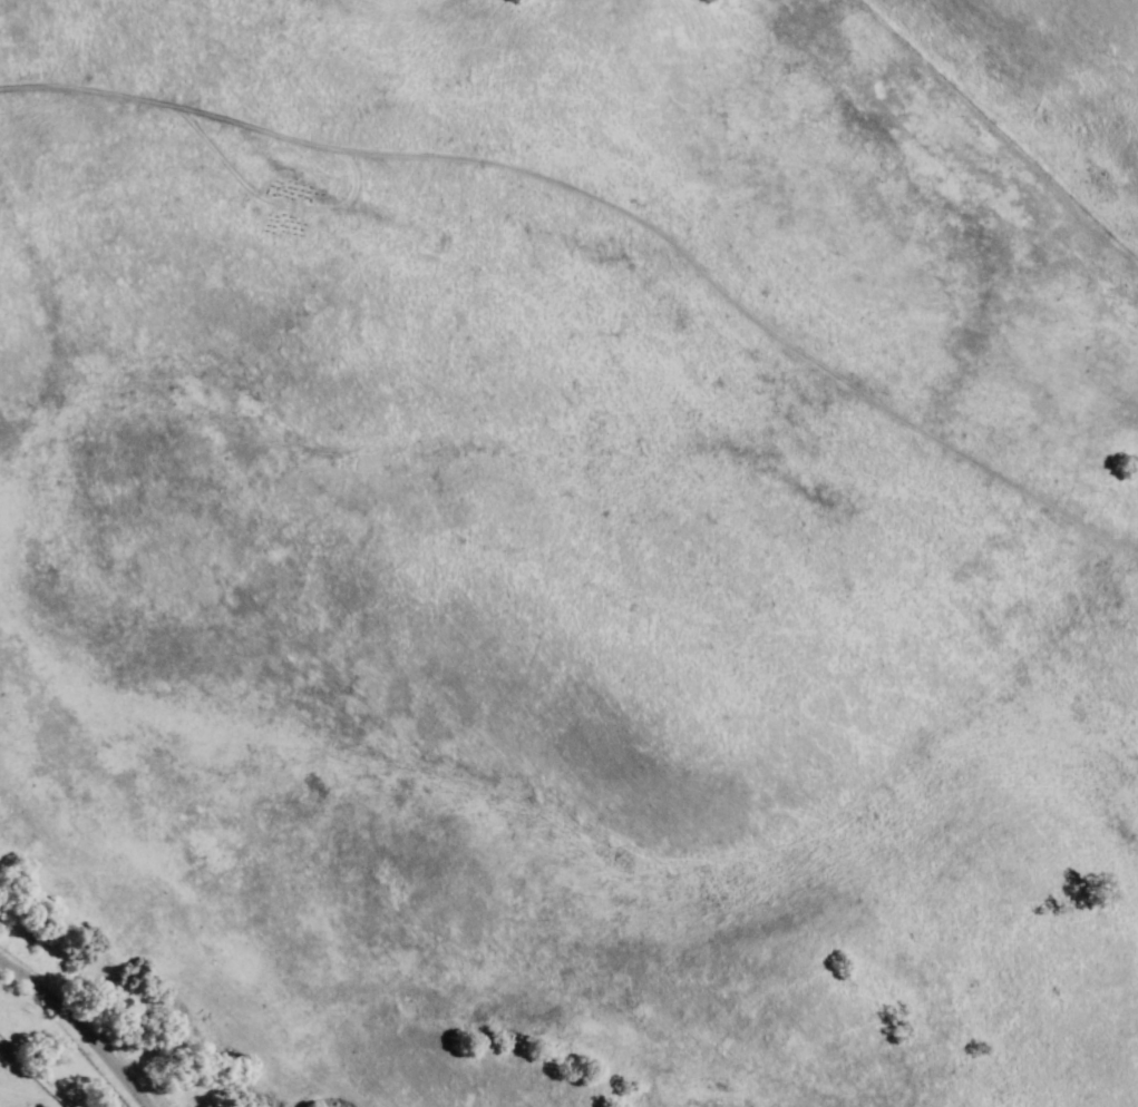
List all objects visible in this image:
road: (70, 1031)

